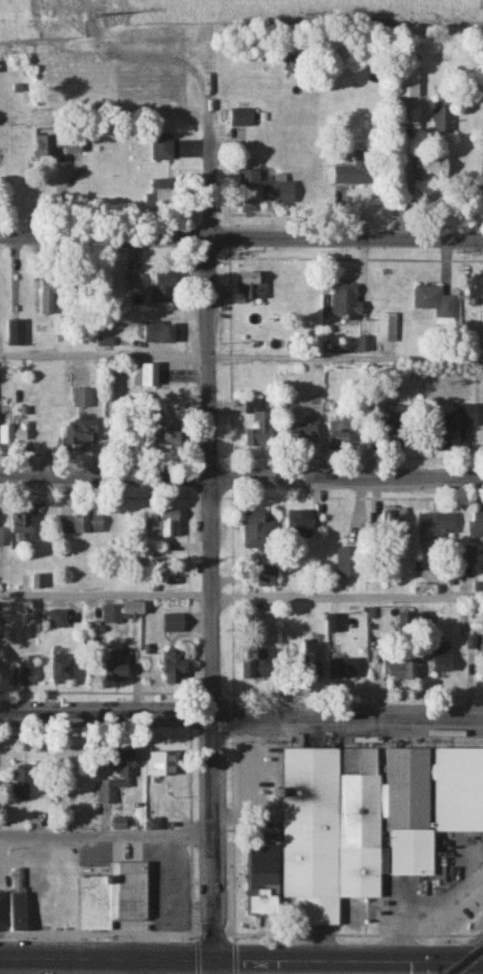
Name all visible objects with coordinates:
building: (68, 9)
building: (408, 85)
building: (242, 119)
building: (69, 145)
building: (163, 148)
building: (42, 149)
building: (435, 168)
building: (357, 174)
building: (251, 188)
building: (280, 192)
building: (164, 195)
road: (241, 236)
building: (253, 287)
building: (477, 287)
building: (164, 290)
building: (51, 294)
building: (348, 301)
building: (435, 303)
building: (386, 329)
building: (15, 334)
building: (161, 334)
road: (241, 358)
building: (145, 377)
building: (82, 399)
building: (465, 417)
building: (259, 426)
building: (392, 428)
building: (83, 431)
building: (311, 432)
building: (340, 434)
building: (172, 436)
road: (241, 476)
building: (394, 519)
building: (476, 521)
building: (83, 523)
building: (302, 525)
building: (167, 526)
building: (23, 528)
building: (435, 531)
building: (261, 532)
building: (1, 538)
road: (213, 549)
building: (348, 564)
building: (268, 577)
road: (241, 598)
building: (136, 609)
building: (113, 615)
building: (57, 621)
building: (174, 625)
building: (334, 625)
building: (1, 657)
building: (313, 660)
building: (444, 660)
building: (482, 663)
building: (256, 664)
building: (119, 668)
building: (175, 668)
building: (346, 669)
building: (64, 671)
building: (402, 673)
building: (24, 674)
road: (241, 716)
building: (159, 765)
building: (114, 783)
building: (24, 786)
building: (361, 826)
road: (107, 834)
building: (115, 896)
building: (19, 901)
building: (373, 916)
road: (430, 919)
road: (241, 961)
railway: (467, 962)
road: (132, 967)

